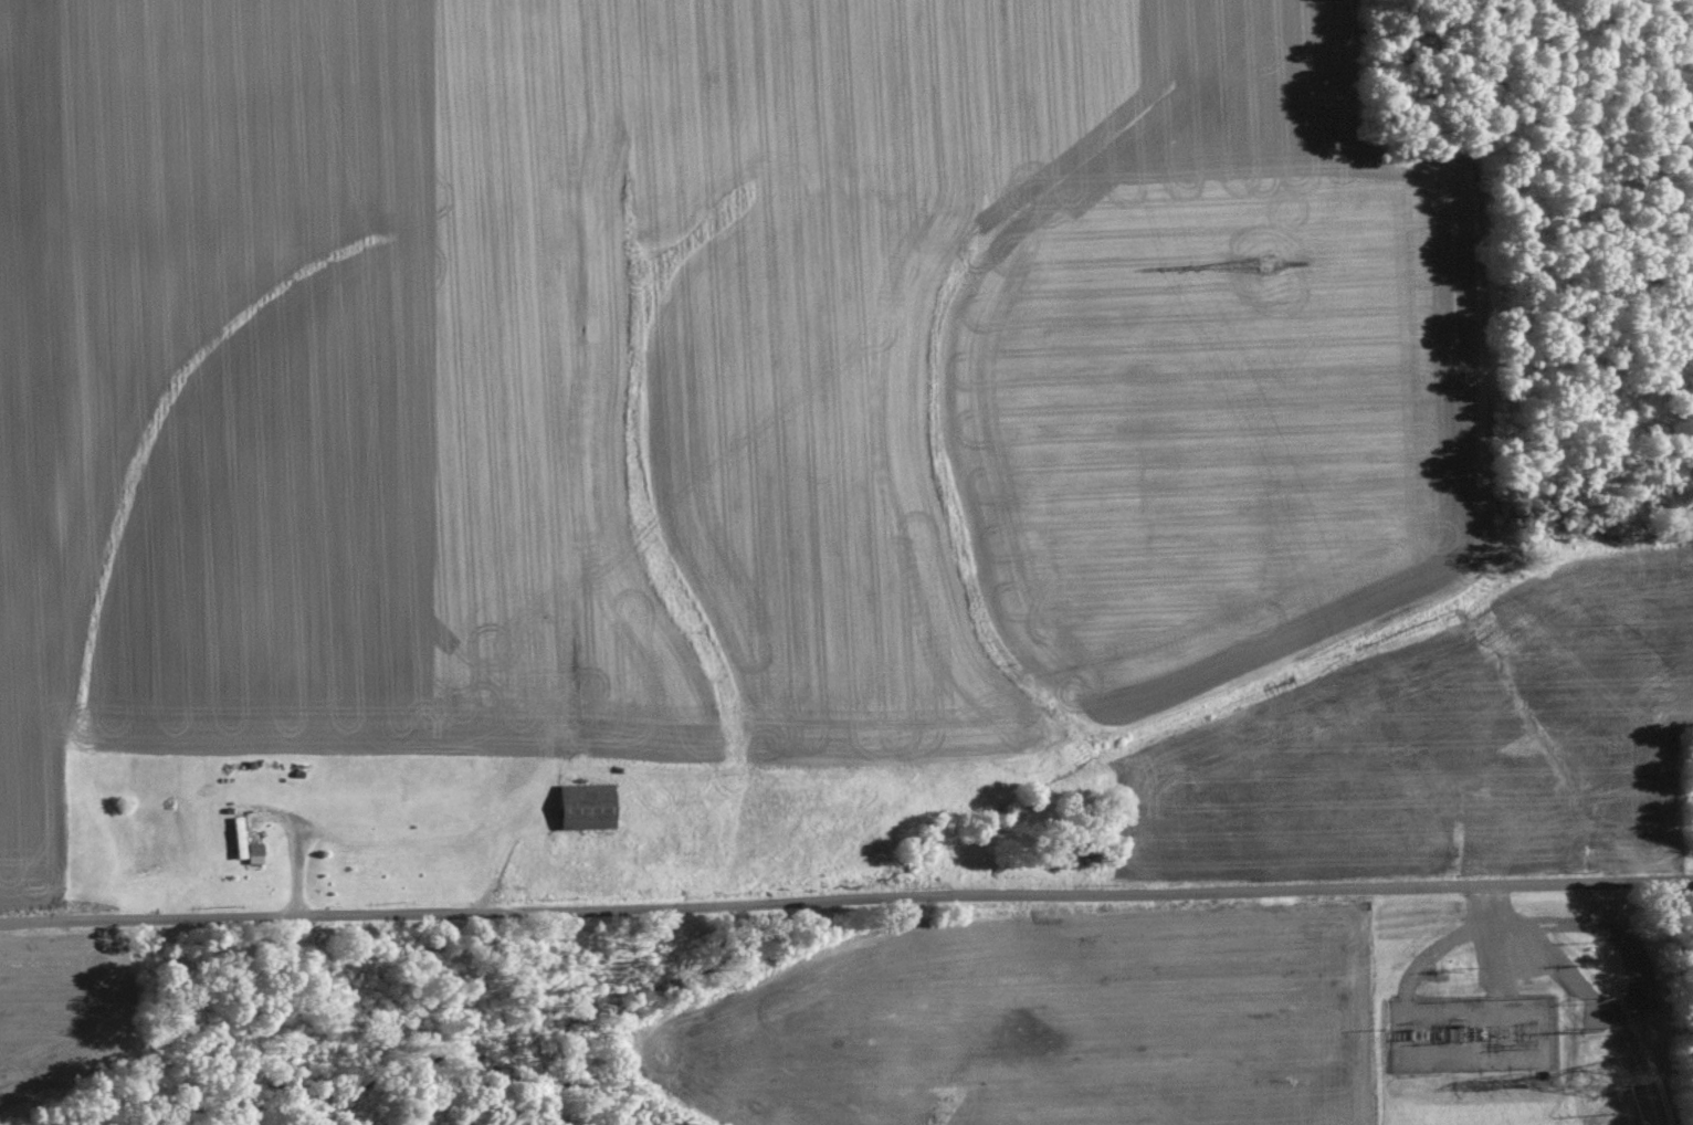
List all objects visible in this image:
power tower: (1266, 264)
road: (845, 893)
power substation: (1470, 1033)
power tower: (1601, 1079)

